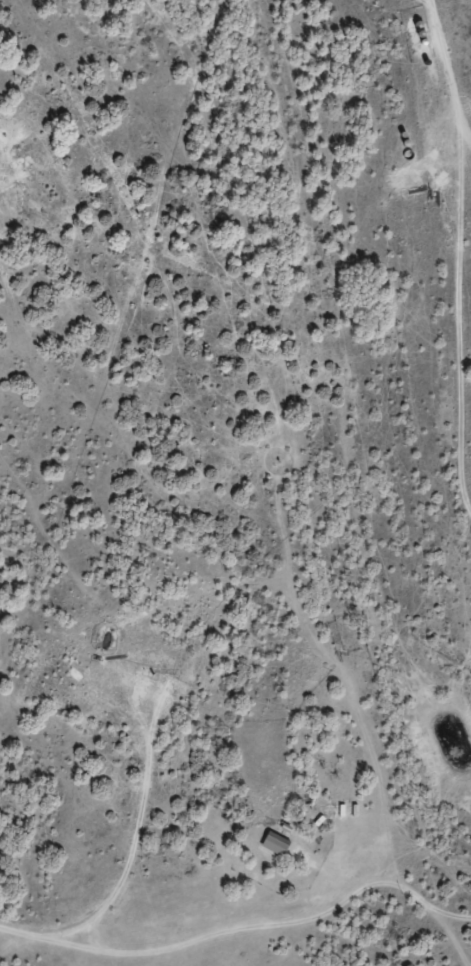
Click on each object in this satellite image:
road: (459, 254)
building: (277, 852)
road: (242, 929)

